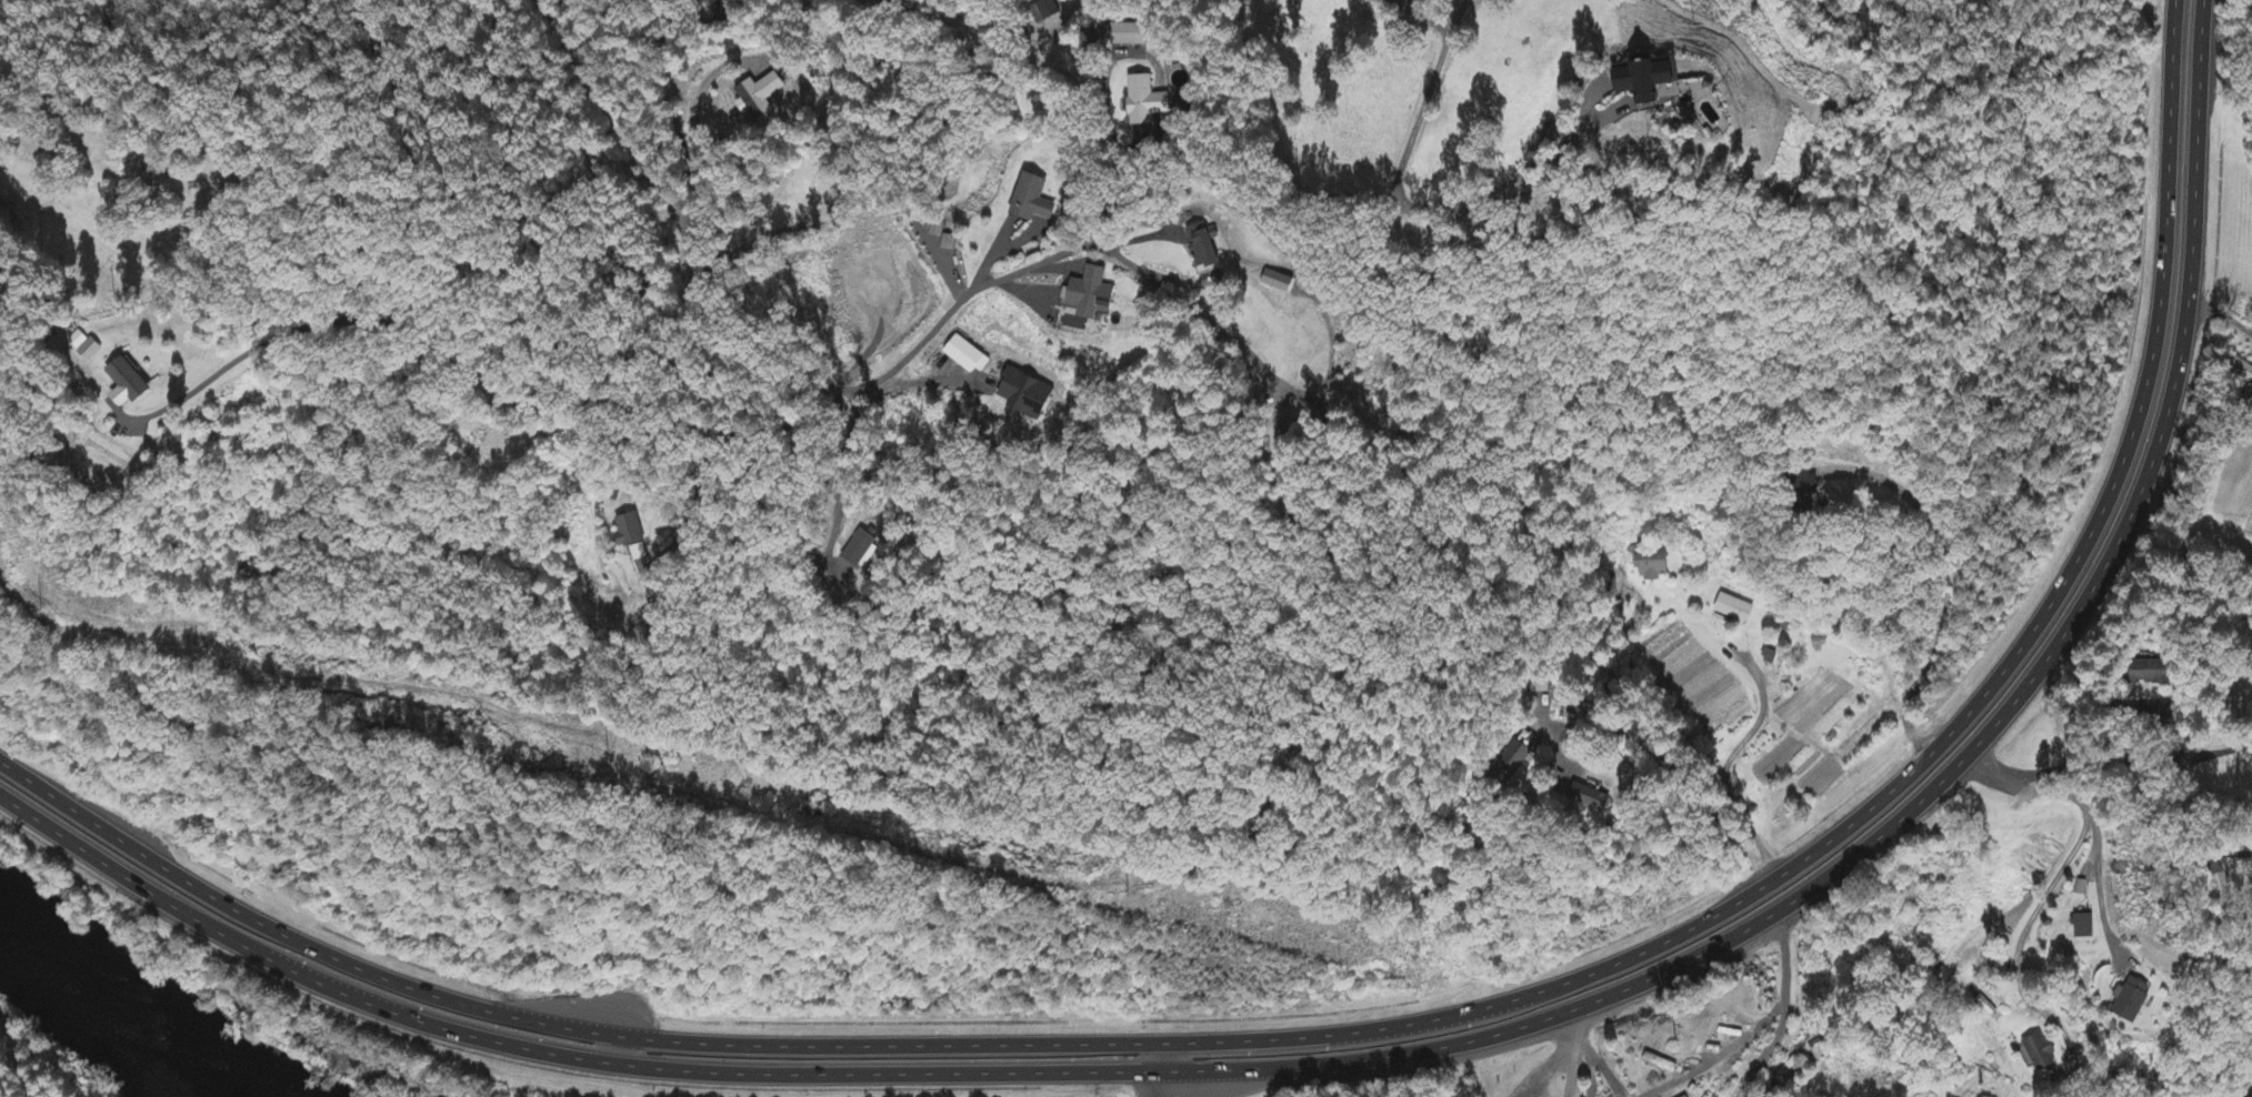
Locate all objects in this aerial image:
building: (707, 0)
building: (724, 6)
building: (1134, 36)
building: (1664, 81)
building: (762, 95)
building: (1149, 102)
road: (1119, 173)
road: (1399, 179)
building: (1034, 201)
building: (1205, 249)
building: (1092, 294)
road: (439, 343)
building: (86, 346)
road: (739, 350)
building: (2238, 371)
building: (130, 384)
building: (1029, 396)
road: (791, 422)
building: (1808, 492)
building: (632, 539)
building: (1650, 564)
building: (1730, 610)
building: (2132, 671)
road: (2141, 763)
building: (1510, 764)
building: (1554, 783)
building: (1585, 798)
road: (2059, 865)
building: (2079, 927)
building: (2125, 1002)
river: (168, 1015)
road: (450, 1015)
road: (1378, 1026)
road: (1400, 1049)
road: (1262, 1050)
road: (1574, 1053)
building: (2035, 1053)
road: (1228, 1081)
railway: (3, 1094)

